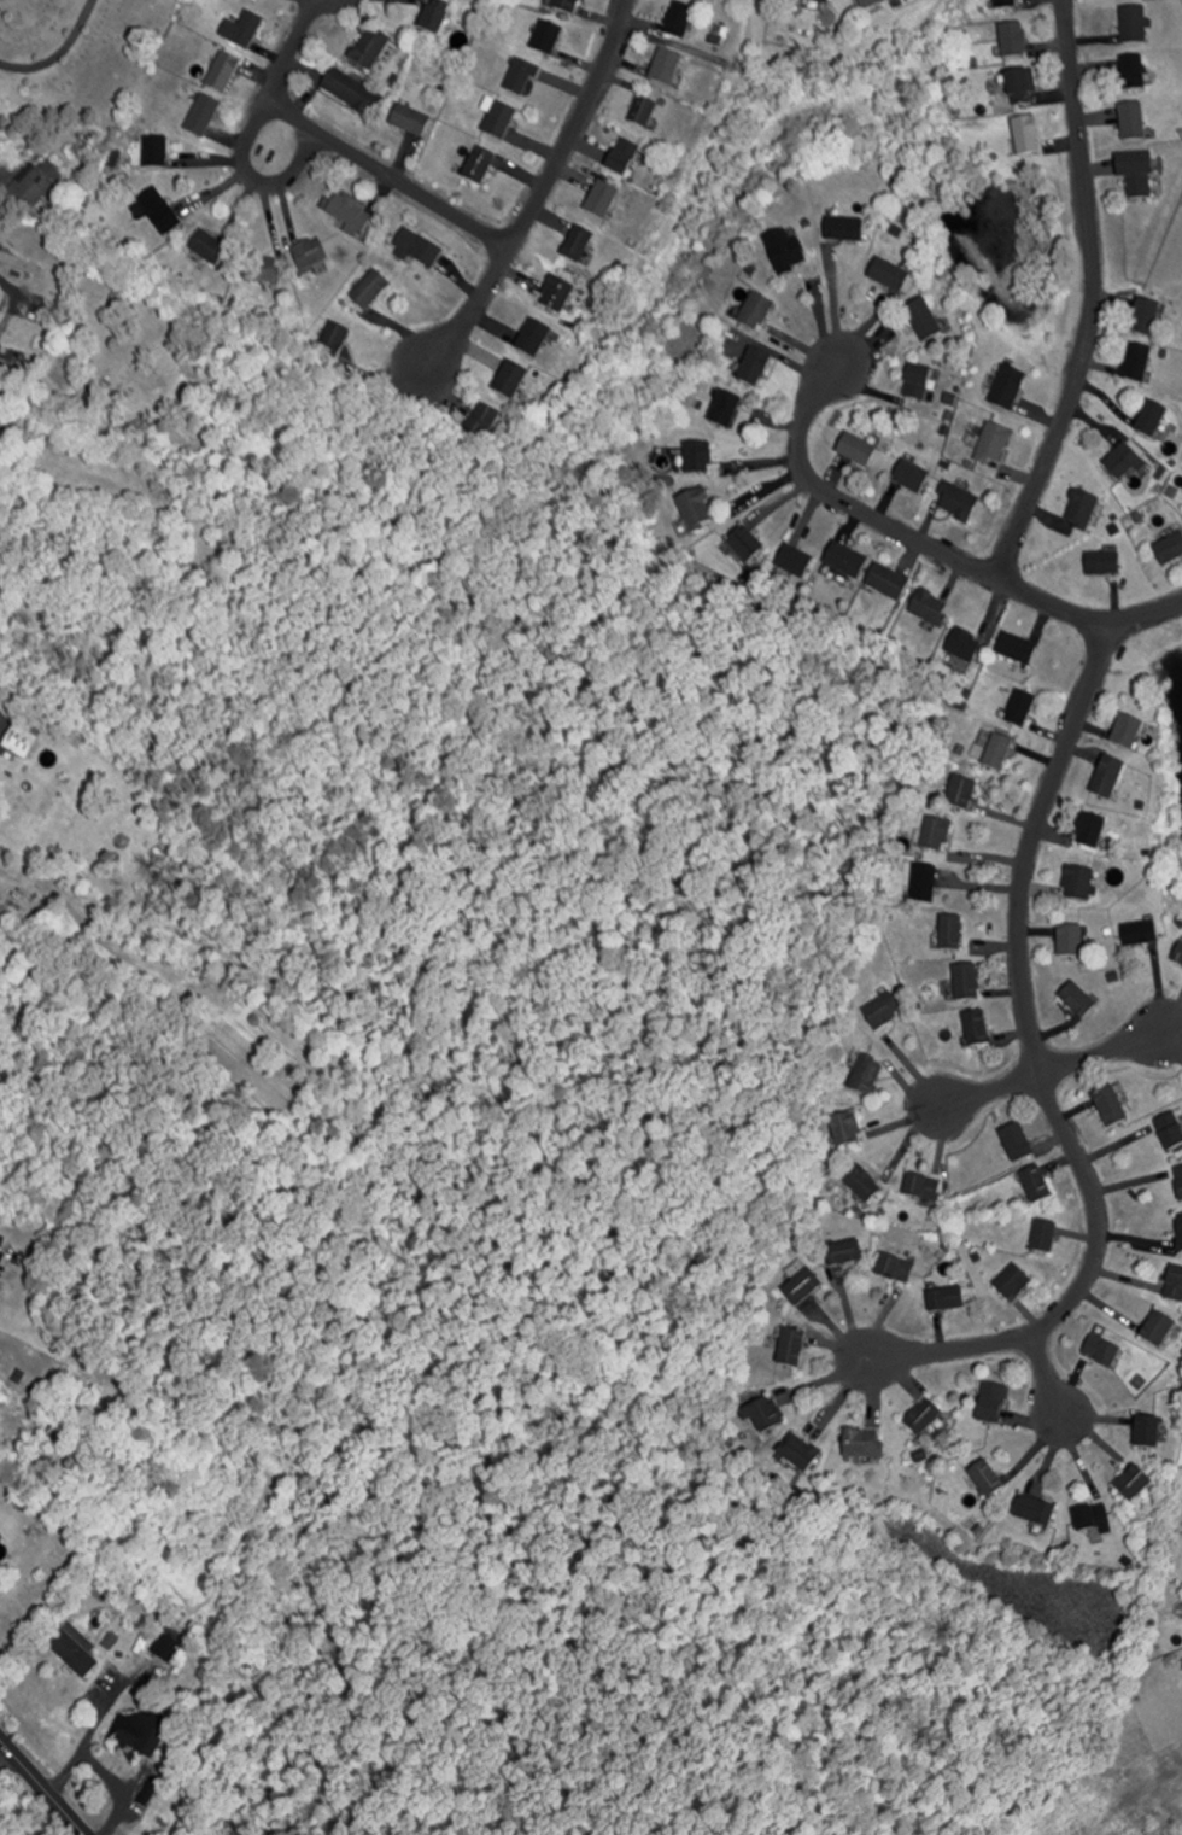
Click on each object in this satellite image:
building: (819, 1)
building: (872, 4)
building: (1006, 5)
building: (567, 7)
building: (434, 18)
building: (679, 22)
building: (1135, 25)
building: (242, 31)
building: (546, 40)
building: (1014, 41)
building: (370, 51)
road: (59, 53)
park: (75, 62)
building: (667, 70)
building: (223, 74)
building: (1135, 74)
building: (520, 78)
building: (1020, 89)
building: (352, 94)
building: (644, 113)
building: (203, 117)
road: (257, 118)
building: (499, 122)
building: (1134, 122)
building: (410, 123)
building: (1028, 138)
building: (157, 153)
building: (622, 158)
building: (479, 168)
road: (388, 173)
building: (1139, 174)
building: (37, 186)
road: (545, 187)
building: (602, 201)
building: (160, 212)
building: (349, 216)
building: (844, 230)
building: (578, 245)
building: (209, 250)
building: (419, 251)
building: (786, 251)
building: (310, 256)
building: (22, 264)
building: (261, 270)
building: (890, 276)
building: (370, 292)
building: (557, 296)
road: (1093, 297)
road: (831, 300)
building: (1147, 319)
building: (924, 321)
building: (533, 339)
building: (333, 344)
building: (1139, 363)
building: (756, 368)
building: (510, 381)
building: (918, 382)
building: (1008, 388)
building: (726, 410)
building: (1152, 420)
building: (481, 422)
building: (995, 445)
building: (858, 451)
building: (698, 460)
building: (1124, 463)
building: (913, 479)
building: (959, 503)
building: (696, 510)
building: (1082, 512)
road: (932, 545)
building: (747, 547)
building: (1170, 551)
building: (847, 562)
building: (795, 563)
building: (1104, 565)
building: (889, 584)
building: (931, 608)
building: (964, 647)
building: (1018, 649)
building: (1022, 711)
building: (1128, 734)
building: (21, 742)
building: (999, 754)
building: (1108, 779)
building: (962, 794)
building: (1090, 831)
building: (937, 835)
building: (925, 883)
building: (1079, 883)
building: (953, 933)
building: (1141, 934)
building: (1071, 941)
building: (1178, 954)
building: (967, 982)
building: (1078, 1000)
building: (884, 1011)
building: (978, 1028)
road: (1053, 1070)
road: (1042, 1071)
building: (868, 1076)
building: (1111, 1106)
building: (847, 1129)
building: (1171, 1129)
building: (1016, 1141)
building: (1180, 1180)
building: (864, 1184)
building: (1037, 1184)
building: (921, 1187)
building: (1180, 1232)
building: (1045, 1237)
building: (845, 1252)
building: (896, 1268)
building: (1013, 1282)
building: (1175, 1284)
building: (803, 1286)
building: (947, 1299)
building: (1159, 1328)
building: (792, 1348)
building: (1102, 1351)
road: (1048, 1380)
building: (993, 1403)
building: (766, 1413)
building: (924, 1416)
building: (1148, 1432)
building: (864, 1443)
building: (800, 1453)
building: (987, 1478)
building: (1134, 1484)
building: (1035, 1510)
building: (1094, 1518)
building: (979, 1530)
building: (74, 1648)
road: (96, 1707)
building: (140, 1735)
road: (5, 1759)
road: (95, 1771)
road: (43, 1786)

